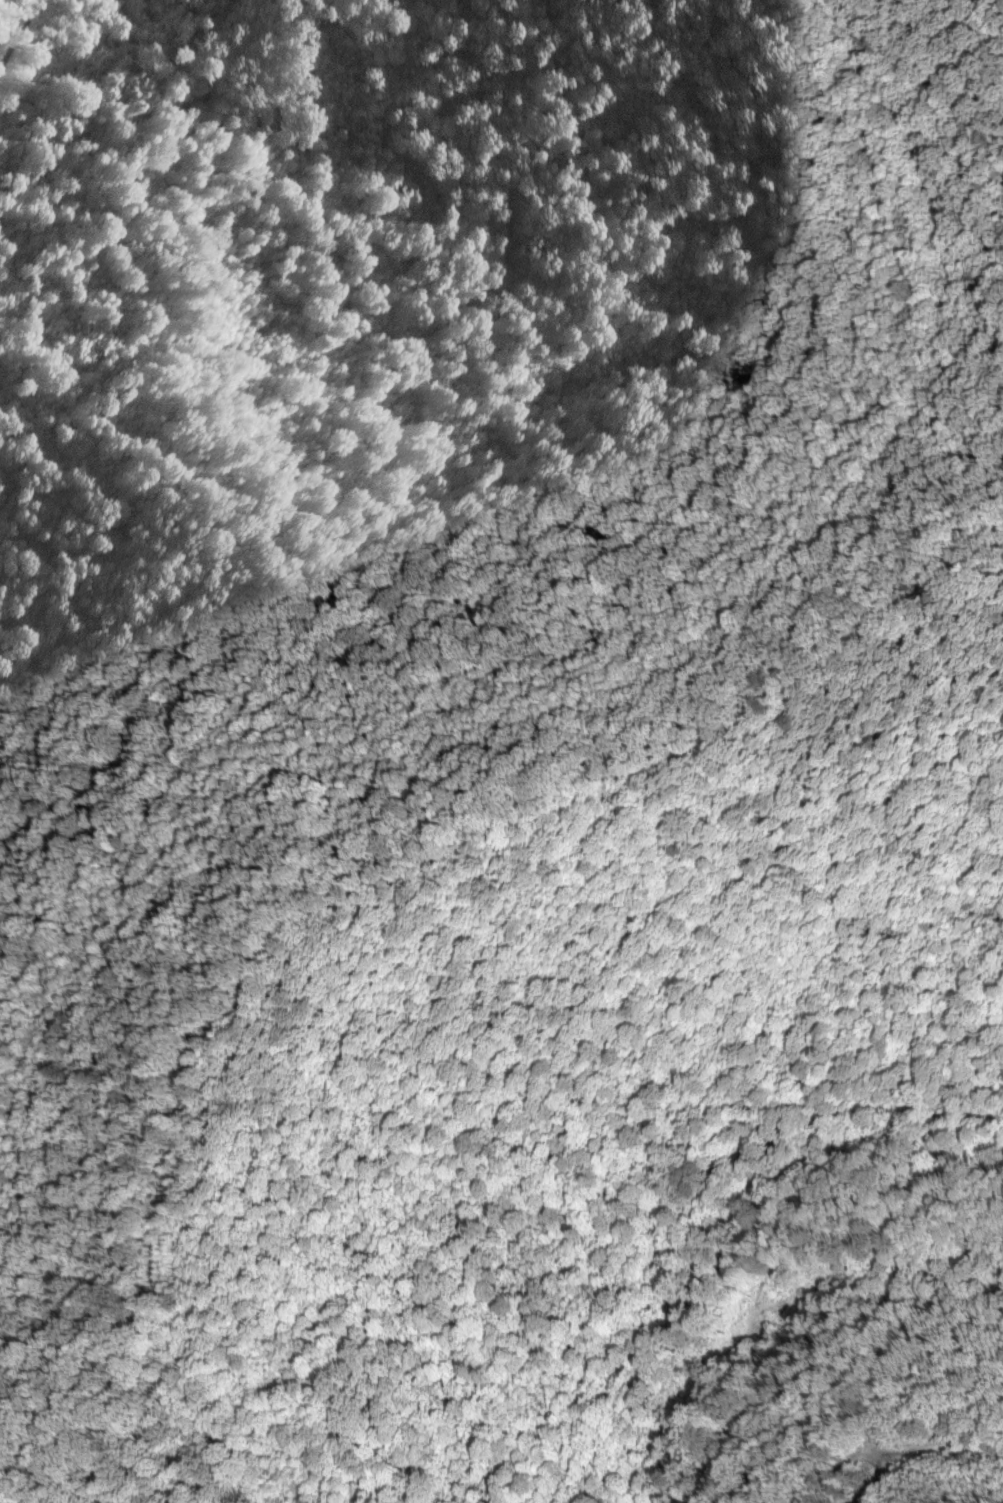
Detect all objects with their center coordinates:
road: (16, 31)

